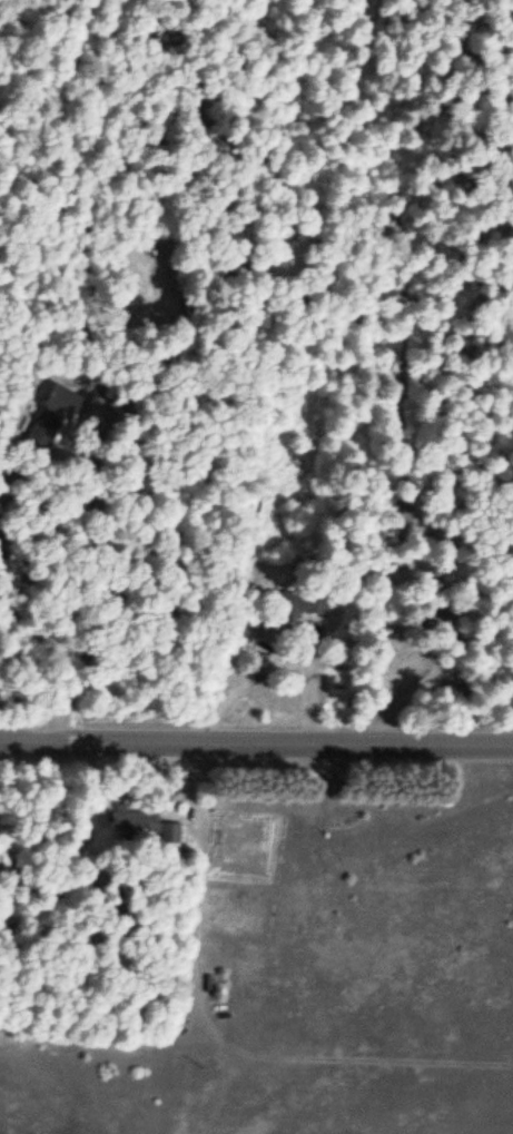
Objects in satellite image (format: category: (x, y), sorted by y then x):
road: (256, 746)
building: (160, 830)

